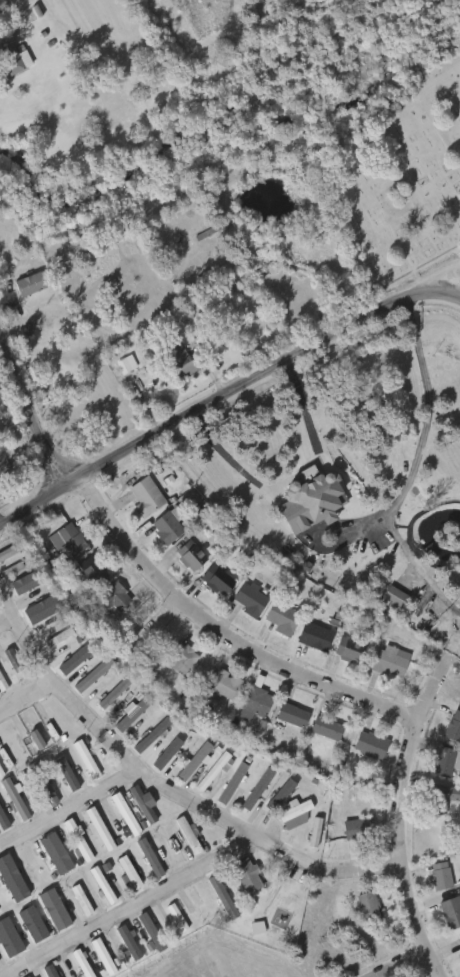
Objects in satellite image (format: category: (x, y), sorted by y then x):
building: (12, 57)
building: (29, 281)
road: (454, 294)
building: (8, 300)
building: (179, 359)
building: (127, 362)
road: (219, 394)
road: (300, 411)
road: (26, 415)
road: (411, 446)
building: (4, 457)
road: (231, 459)
road: (299, 465)
building: (145, 493)
building: (312, 502)
building: (165, 525)
building: (69, 536)
building: (11, 549)
building: (188, 553)
building: (11, 568)
building: (90, 569)
building: (217, 579)
building: (26, 583)
building: (394, 598)
building: (108, 599)
building: (247, 599)
building: (42, 609)
building: (277, 616)
road: (7, 621)
road: (151, 623)
road: (220, 630)
building: (312, 635)
building: (59, 637)
building: (372, 655)
building: (179, 657)
building: (11, 659)
building: (74, 660)
building: (91, 674)
building: (3, 681)
building: (220, 685)
building: (111, 692)
road: (27, 699)
building: (253, 702)
building: (132, 712)
building: (289, 714)
building: (451, 726)
building: (323, 727)
building: (152, 736)
building: (368, 744)
building: (167, 754)
road: (127, 756)
building: (83, 757)
building: (192, 760)
building: (441, 761)
building: (210, 771)
building: (66, 773)
building: (41, 781)
building: (230, 782)
building: (258, 789)
building: (281, 795)
building: (440, 796)
building: (14, 798)
building: (139, 802)
road: (70, 808)
building: (295, 811)
building: (125, 815)
road: (402, 816)
building: (355, 827)
building: (100, 829)
building: (313, 831)
building: (185, 834)
building: (77, 838)
building: (2, 849)
building: (52, 852)
building: (146, 856)
road: (365, 870)
building: (129, 872)
building: (245, 874)
building: (439, 874)
building: (12, 879)
building: (103, 885)
building: (222, 894)
building: (367, 905)
building: (52, 907)
road: (138, 907)
building: (0, 909)
building: (450, 910)
building: (175, 916)
building: (34, 924)
building: (150, 929)
building: (458, 937)
building: (125, 939)
building: (101, 955)
building: (459, 955)
road: (396, 962)
building: (82, 963)
building: (50, 971)
building: (31, 976)

